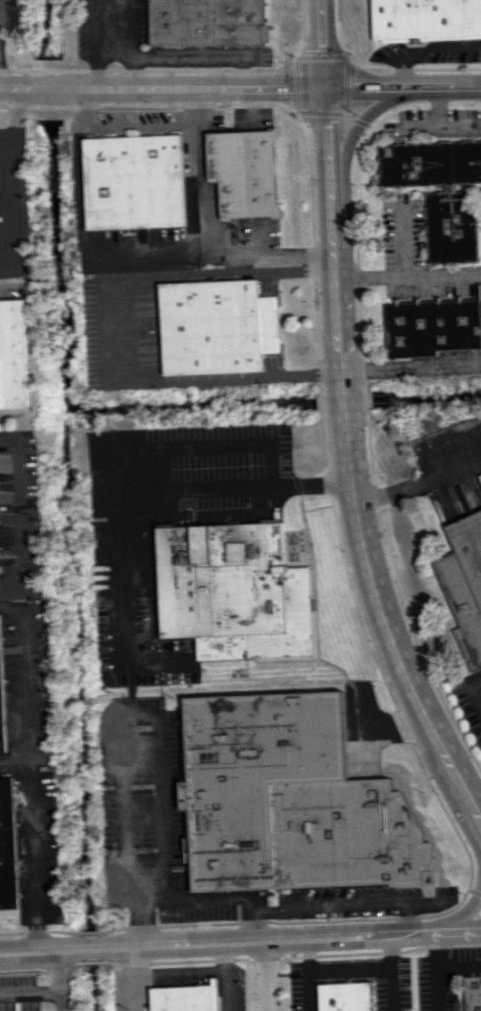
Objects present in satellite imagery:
road: (1, 7)
building: (426, 20)
building: (210, 22)
road: (426, 48)
road: (277, 84)
road: (13, 88)
road: (50, 89)
road: (253, 101)
road: (87, 108)
road: (148, 124)
road: (440, 126)
road: (420, 128)
building: (246, 172)
building: (136, 181)
building: (441, 192)
road: (207, 224)
road: (406, 241)
road: (409, 273)
building: (217, 326)
building: (433, 327)
road: (108, 329)
building: (14, 355)
road: (411, 366)
road: (342, 426)
road: (176, 446)
road: (420, 480)
building: (464, 580)
building: (234, 591)
road: (12, 598)
road: (123, 615)
road: (27, 684)
building: (2, 693)
road: (467, 695)
road: (15, 757)
building: (290, 799)
road: (476, 808)
building: (8, 845)
road: (175, 898)
road: (326, 904)
road: (407, 918)
road: (251, 926)
road: (291, 940)
road: (91, 949)
road: (40, 951)
road: (347, 968)
road: (435, 971)
road: (389, 972)
road: (306, 975)
road: (267, 976)
road: (224, 977)
road: (130, 980)
road: (62, 981)
road: (31, 992)
building: (472, 993)
building: (345, 996)
building: (187, 997)

